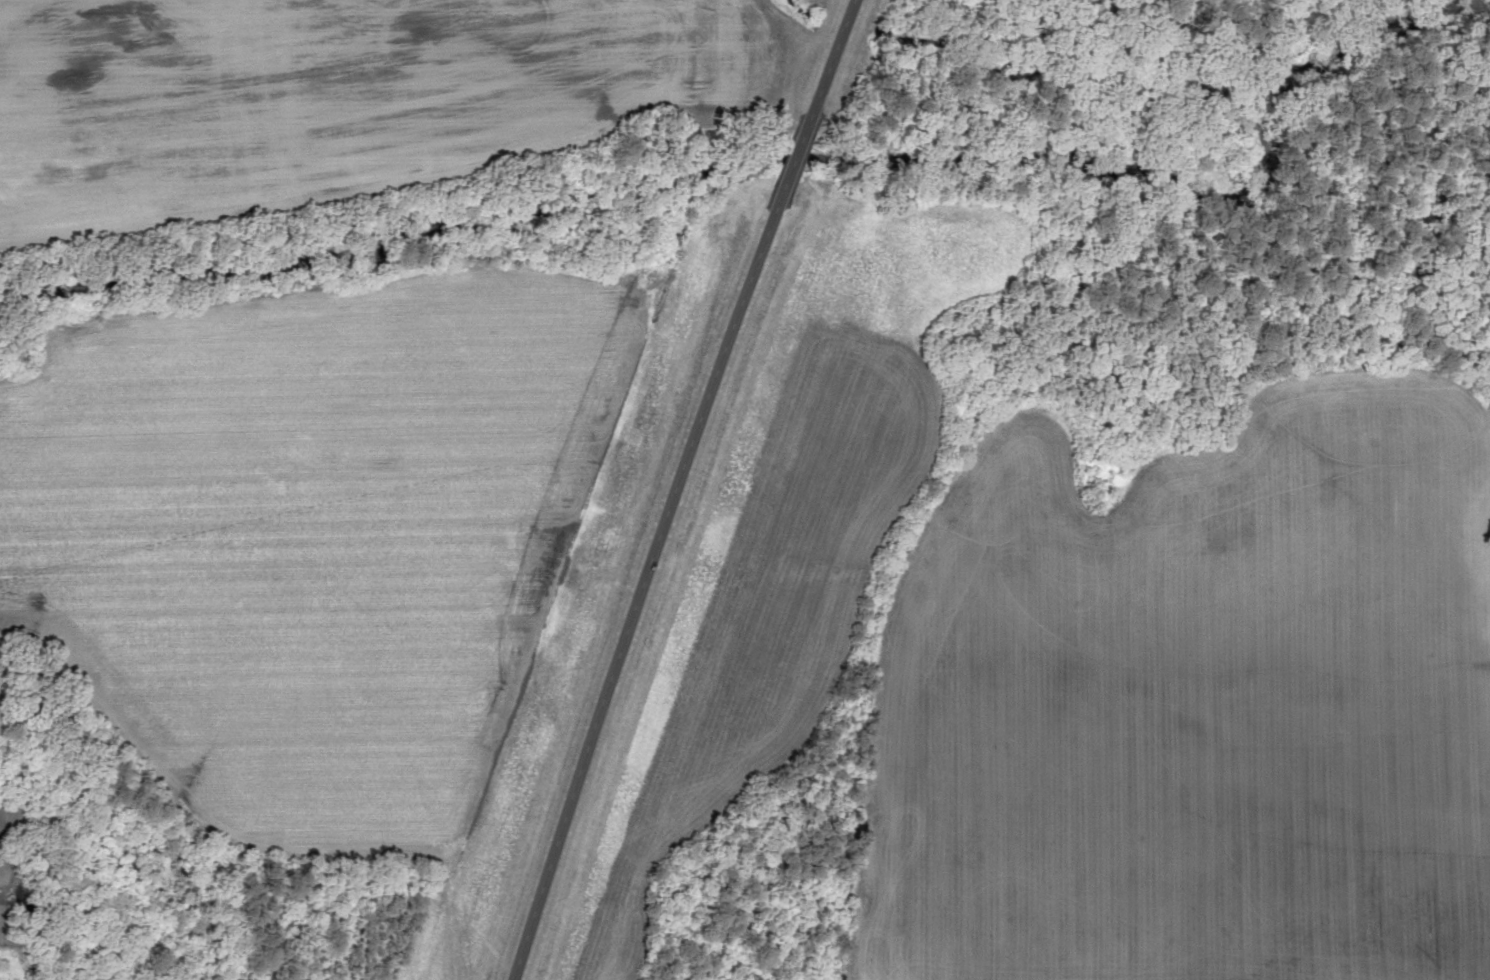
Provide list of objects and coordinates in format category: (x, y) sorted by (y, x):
road: (820, 62)
road: (780, 167)
road: (632, 594)
building: (10, 979)

